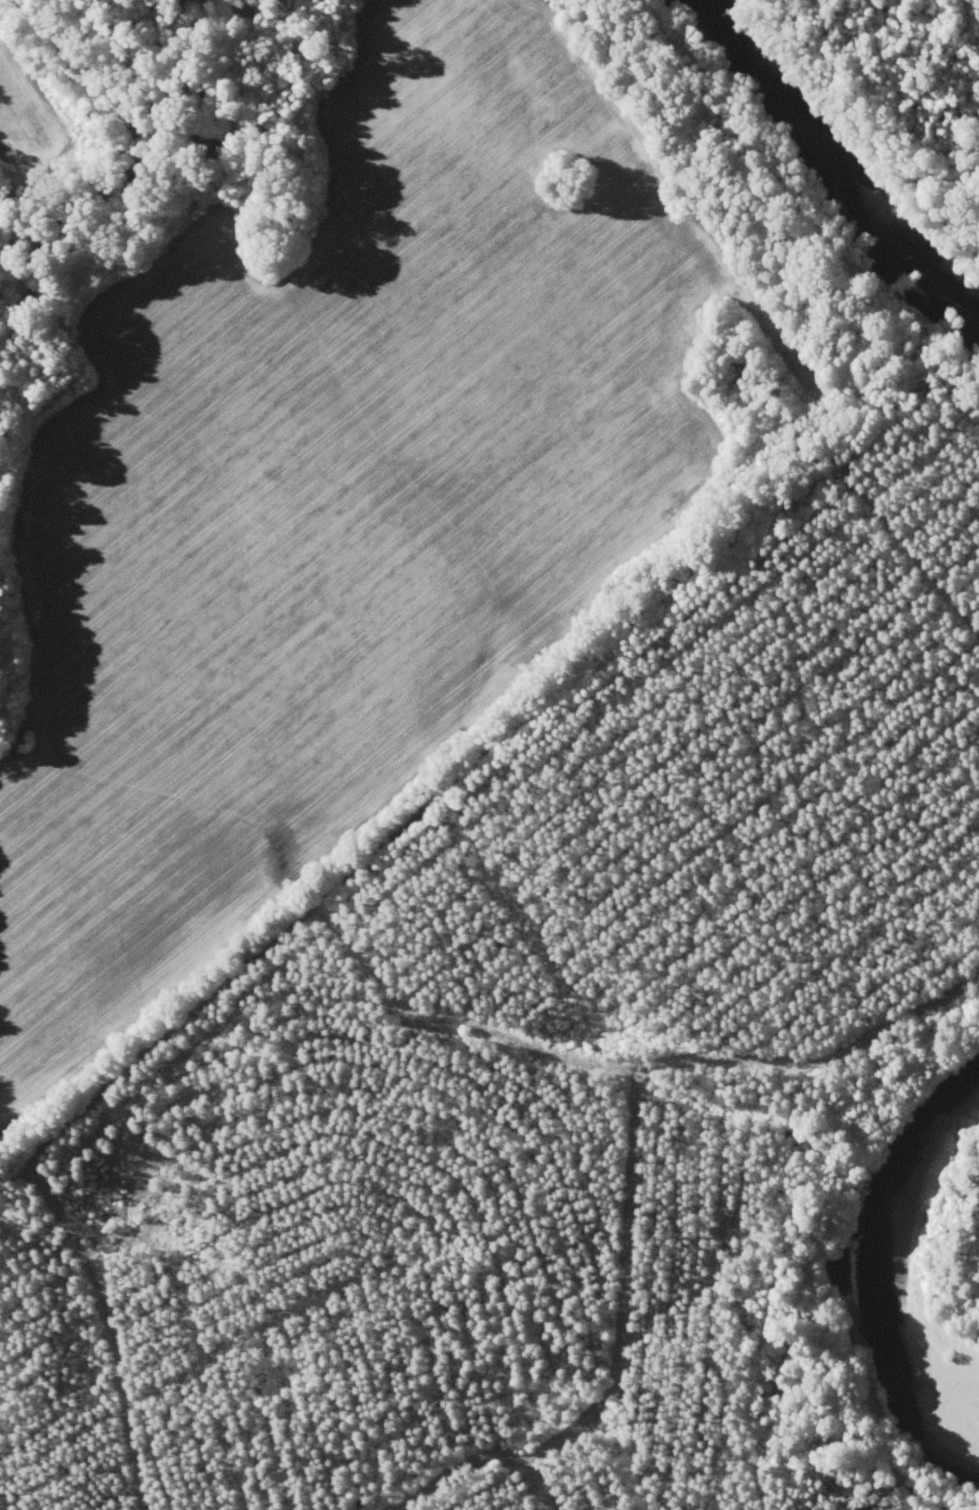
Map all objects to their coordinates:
road: (366, 819)

